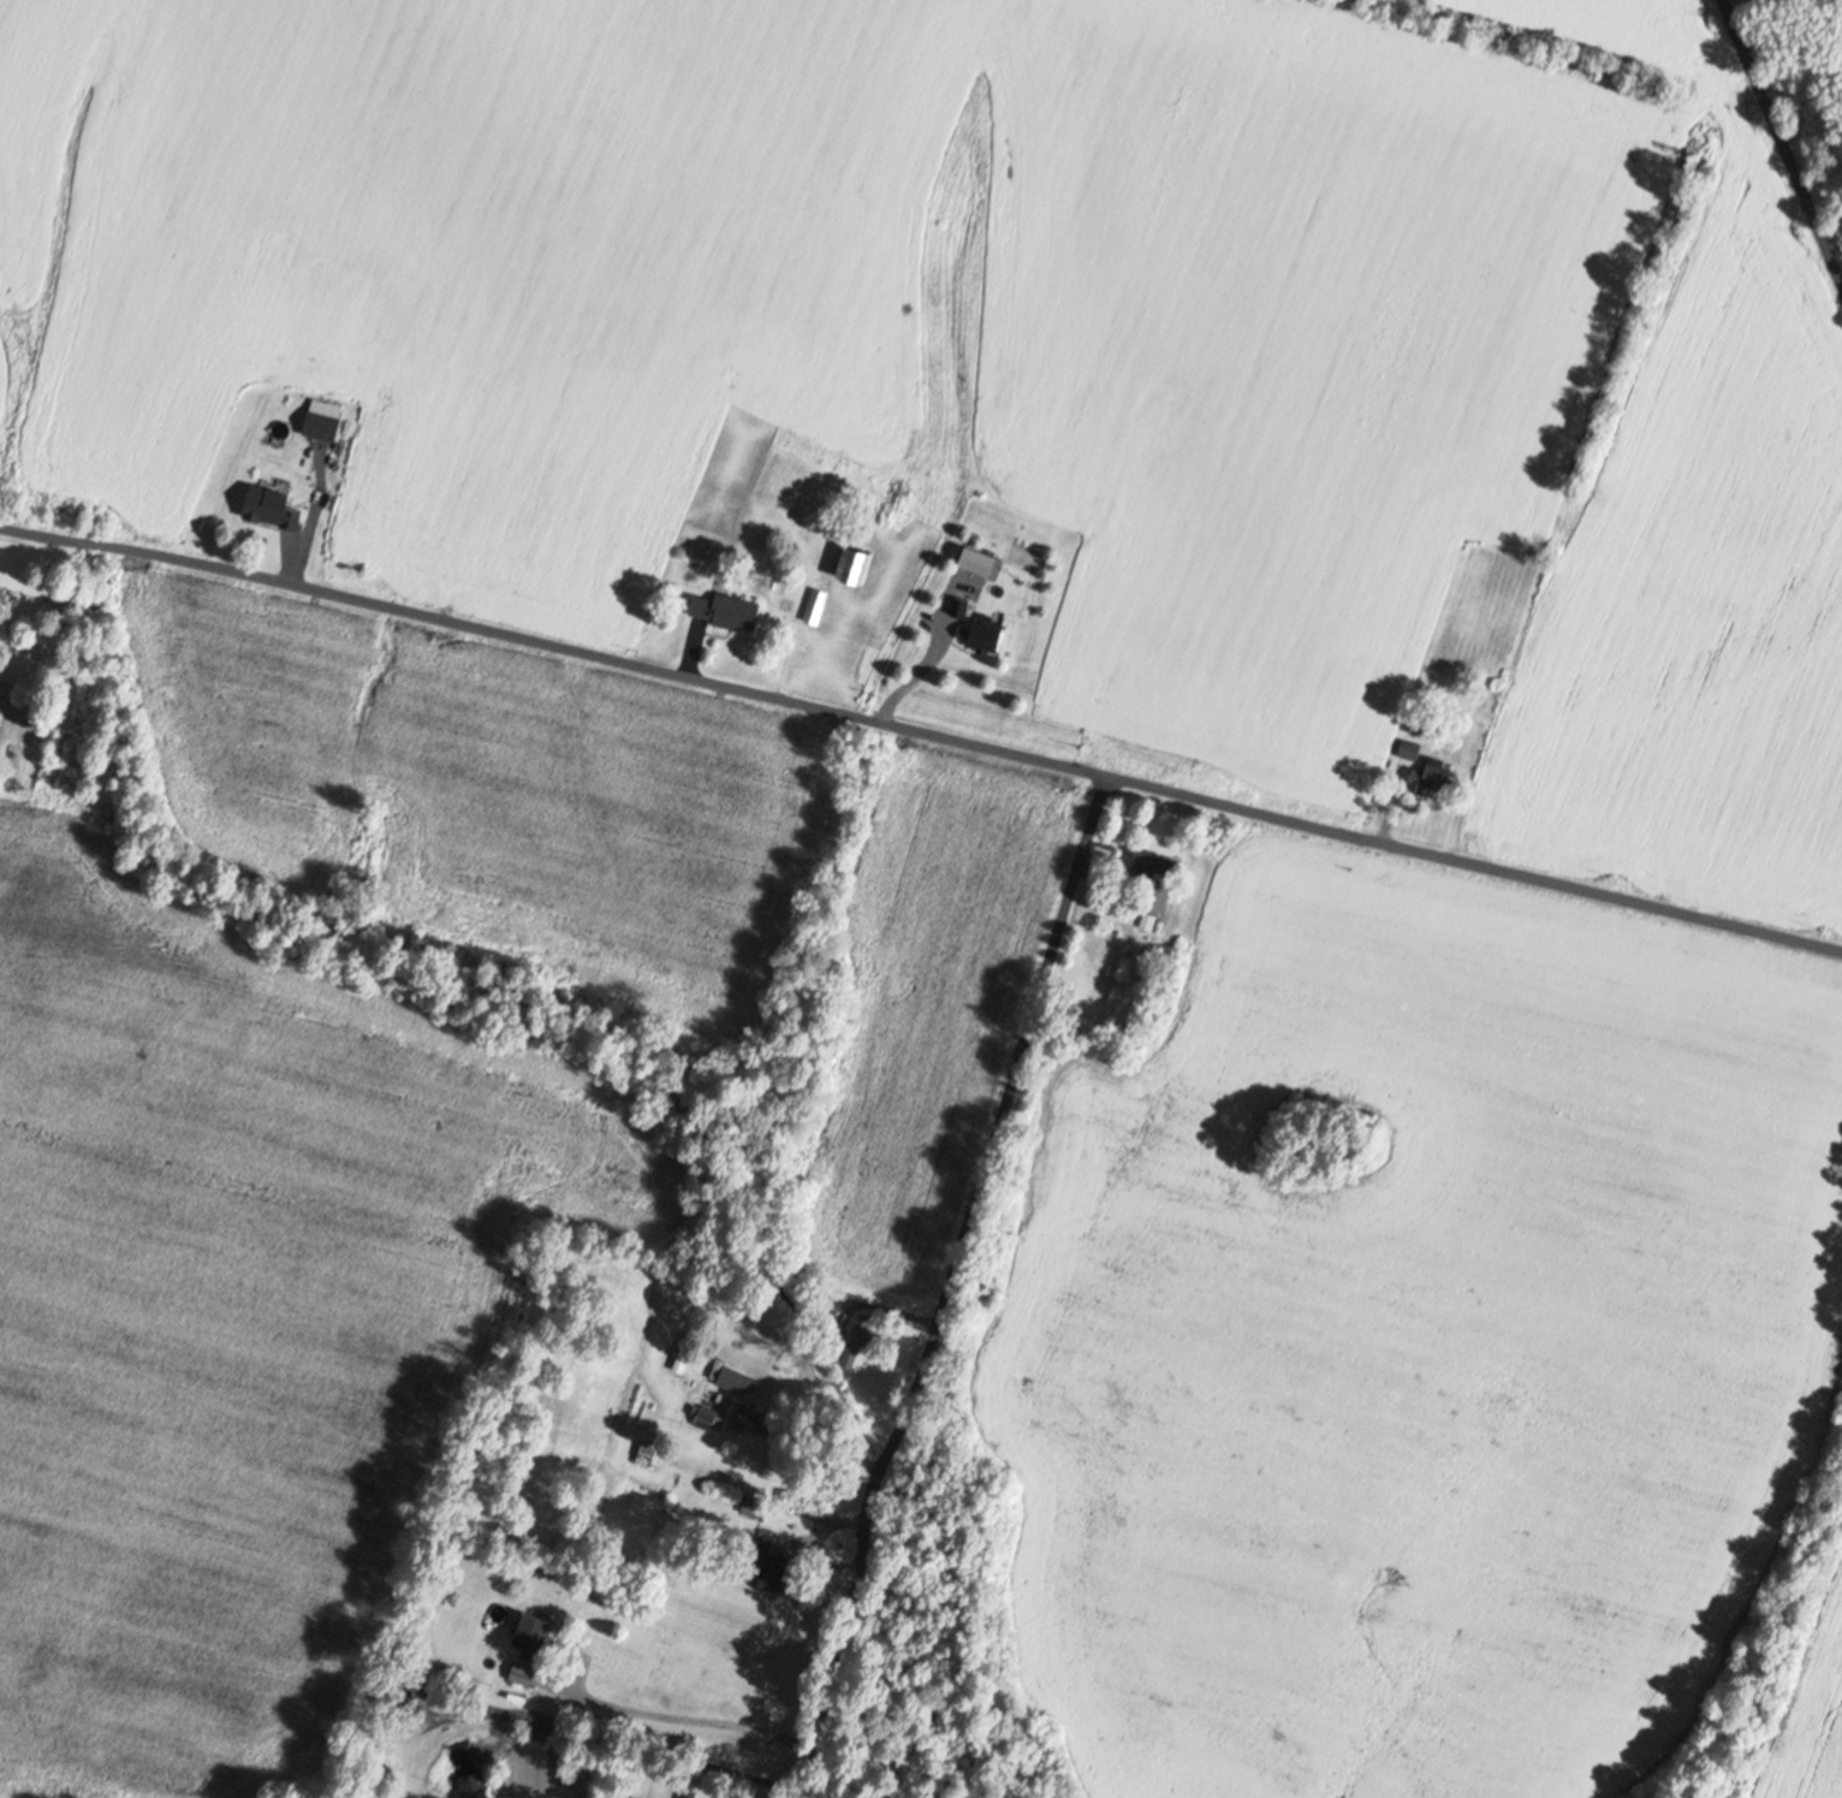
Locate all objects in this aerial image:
road: (1783, 137)
building: (323, 421)
building: (273, 509)
building: (891, 520)
building: (857, 564)
building: (961, 605)
building: (818, 606)
building: (729, 612)
building: (987, 635)
road: (922, 734)
building: (1425, 770)
building: (1153, 862)
building: (1148, 922)
road: (952, 1288)
building: (856, 1342)
building: (685, 1352)
building: (733, 1378)
building: (650, 1408)
building: (707, 1417)
building: (649, 1454)
building: (756, 1506)
building: (771, 1568)
building: (534, 1630)
building: (470, 1770)

